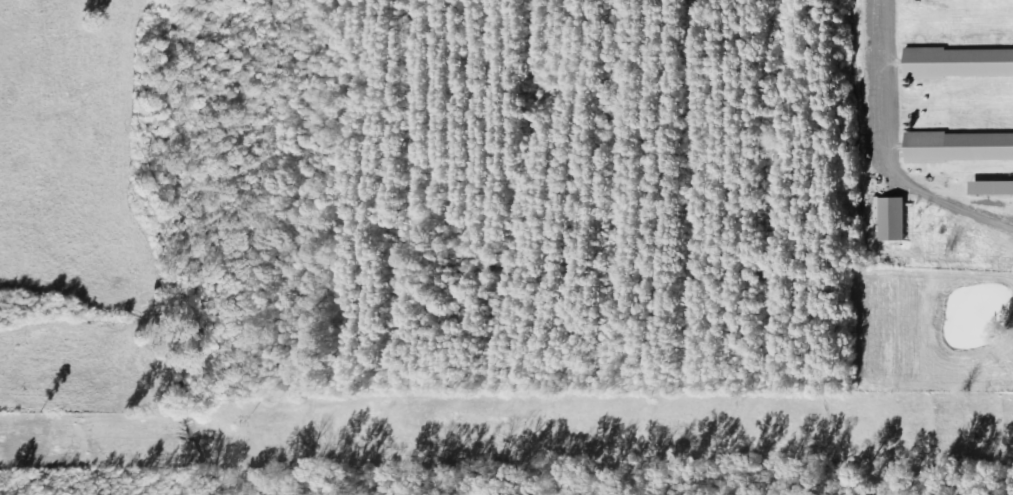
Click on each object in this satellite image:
building: (960, 65)
building: (960, 148)
road: (891, 151)
building: (994, 190)
building: (894, 221)

